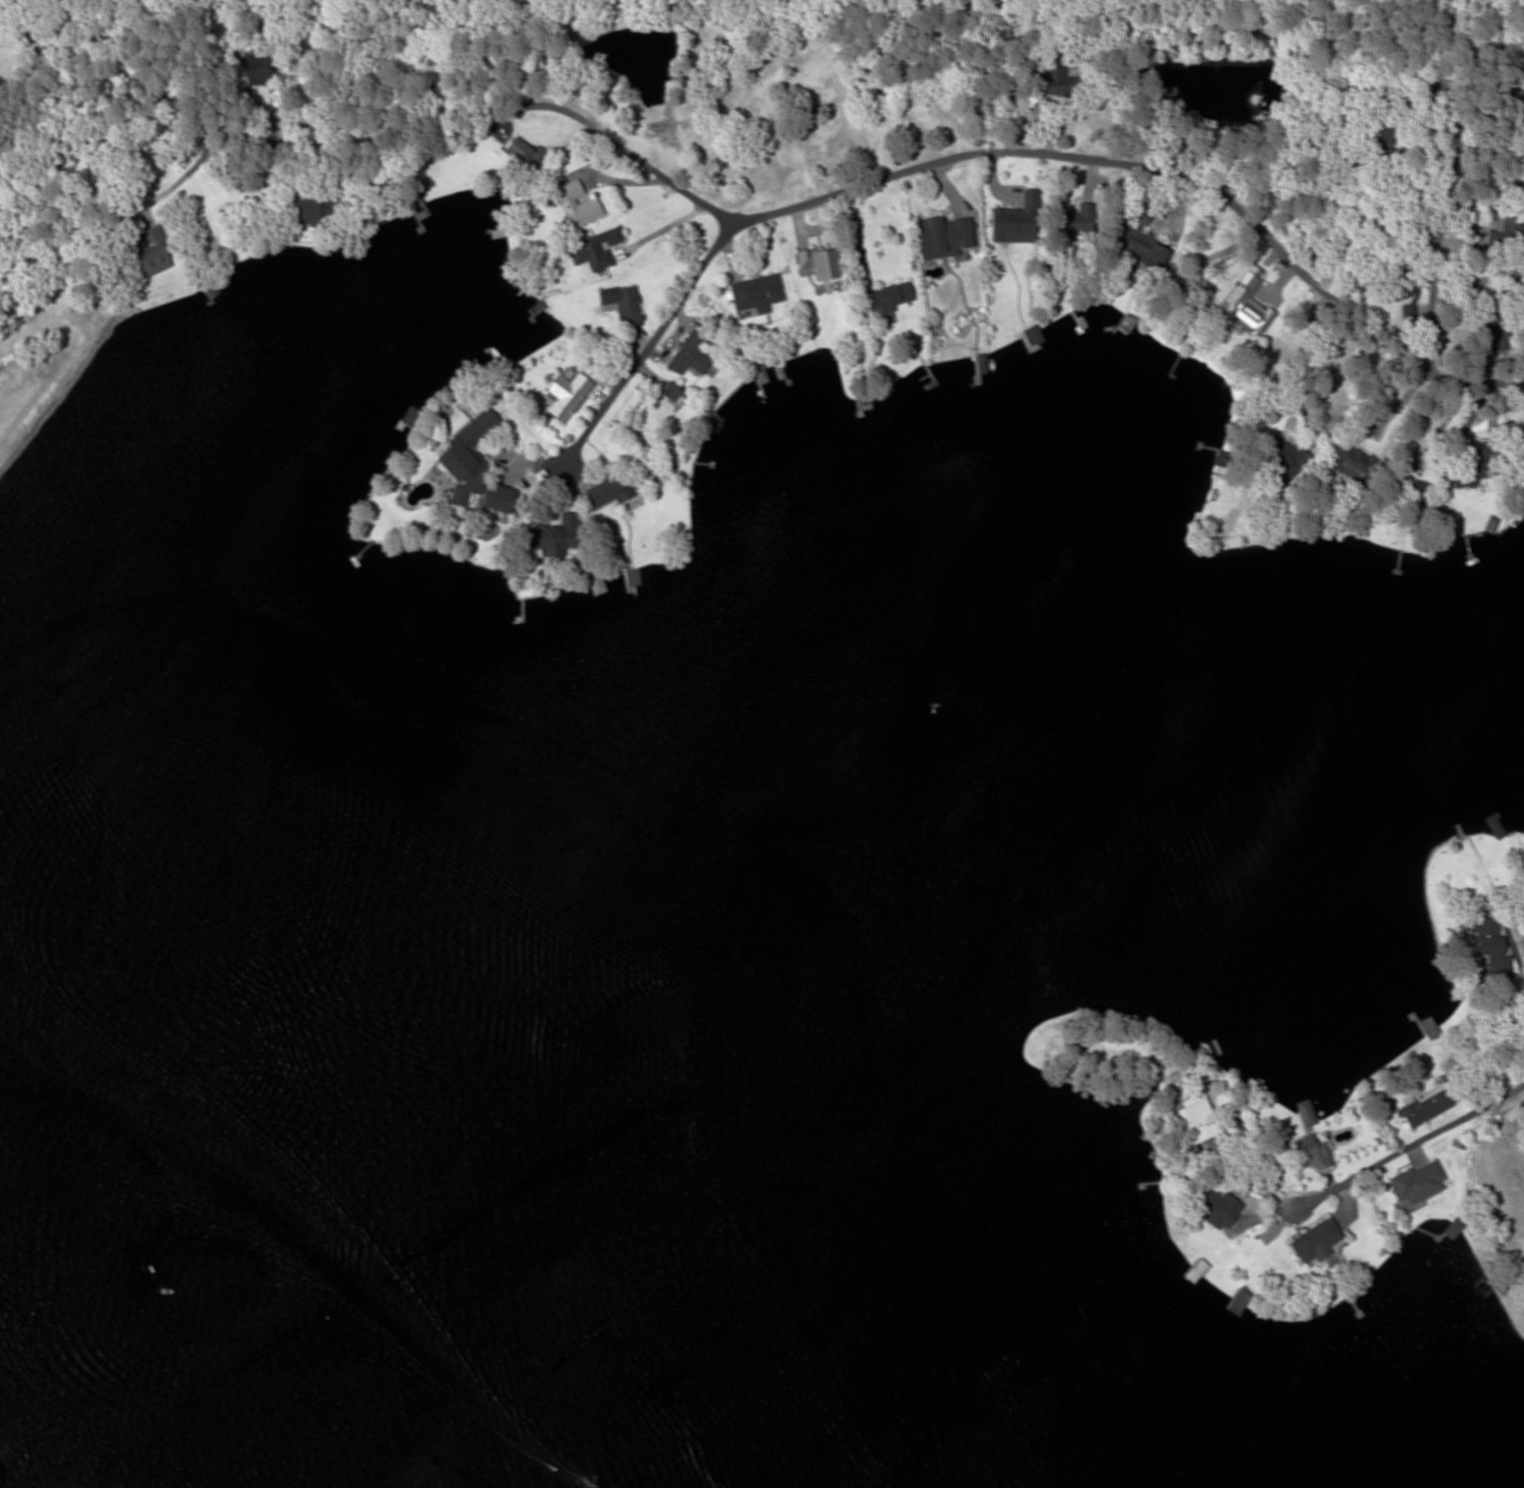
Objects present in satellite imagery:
building: (259, 66)
building: (1056, 82)
building: (1380, 142)
building: (522, 154)
road: (1445, 162)
building: (576, 205)
road: (920, 209)
building: (306, 210)
building: (1067, 224)
building: (1512, 227)
building: (941, 238)
building: (1137, 241)
building: (598, 249)
building: (154, 253)
building: (817, 264)
building: (1498, 279)
building: (1397, 284)
building: (755, 293)
building: (886, 299)
building: (621, 305)
building: (1188, 317)
building: (1490, 332)
building: (1029, 336)
building: (688, 356)
building: (564, 395)
road: (573, 397)
building: (661, 407)
building: (1284, 457)
building: (465, 458)
building: (1347, 461)
building: (1462, 482)
building: (1405, 492)
building: (611, 494)
building: (495, 499)
building: (632, 578)
building: (594, 585)
building: (1492, 826)
building: (1483, 936)
building: (1523, 941)
building: (1423, 1108)
building: (1304, 1114)
building: (1194, 1119)
building: (1308, 1153)
building: (1511, 1170)
building: (1416, 1183)
road: (1385, 1186)
building: (1214, 1208)
building: (1314, 1242)
building: (1193, 1272)

